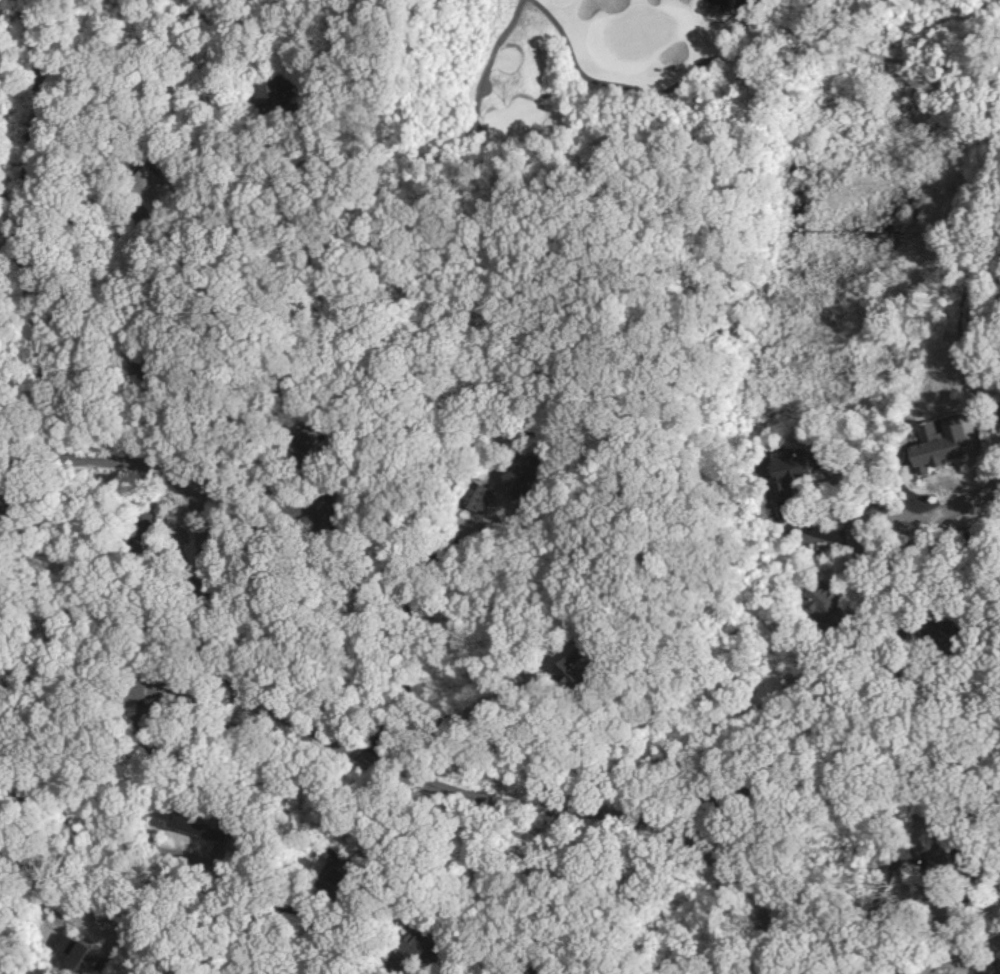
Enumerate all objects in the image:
road: (806, 5)
road: (747, 21)
road: (70, 32)
road: (477, 53)
road: (895, 61)
park: (697, 66)
road: (474, 79)
road: (554, 86)
road: (654, 89)
road: (466, 129)
building: (150, 180)
road: (22, 237)
building: (787, 470)
building: (526, 479)
building: (484, 493)
road: (857, 513)
building: (138, 519)
road: (917, 530)
building: (820, 595)
road: (406, 644)
road: (452, 713)
road: (129, 763)
road: (369, 773)
road: (154, 865)
road: (899, 893)
road: (737, 944)
road: (947, 949)
building: (64, 952)

